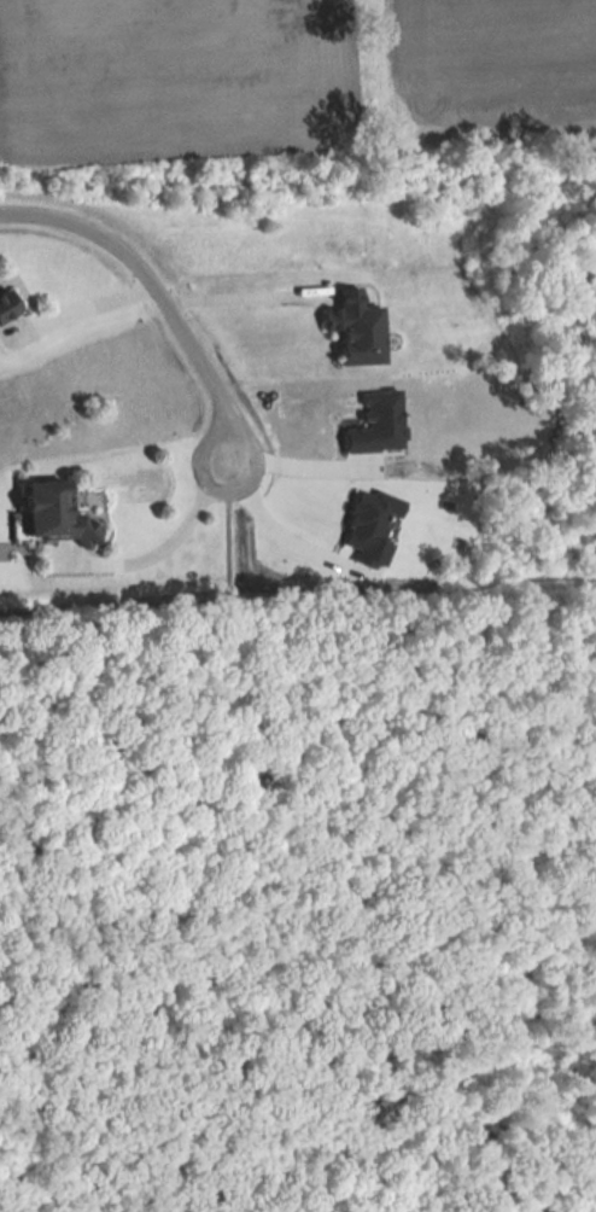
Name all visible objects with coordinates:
crop: (495, 65)
crop: (175, 76)
road: (159, 293)
road: (243, 297)
building: (5, 305)
road: (80, 305)
building: (353, 331)
road: (311, 472)
building: (49, 517)
road: (274, 534)
road: (169, 547)

